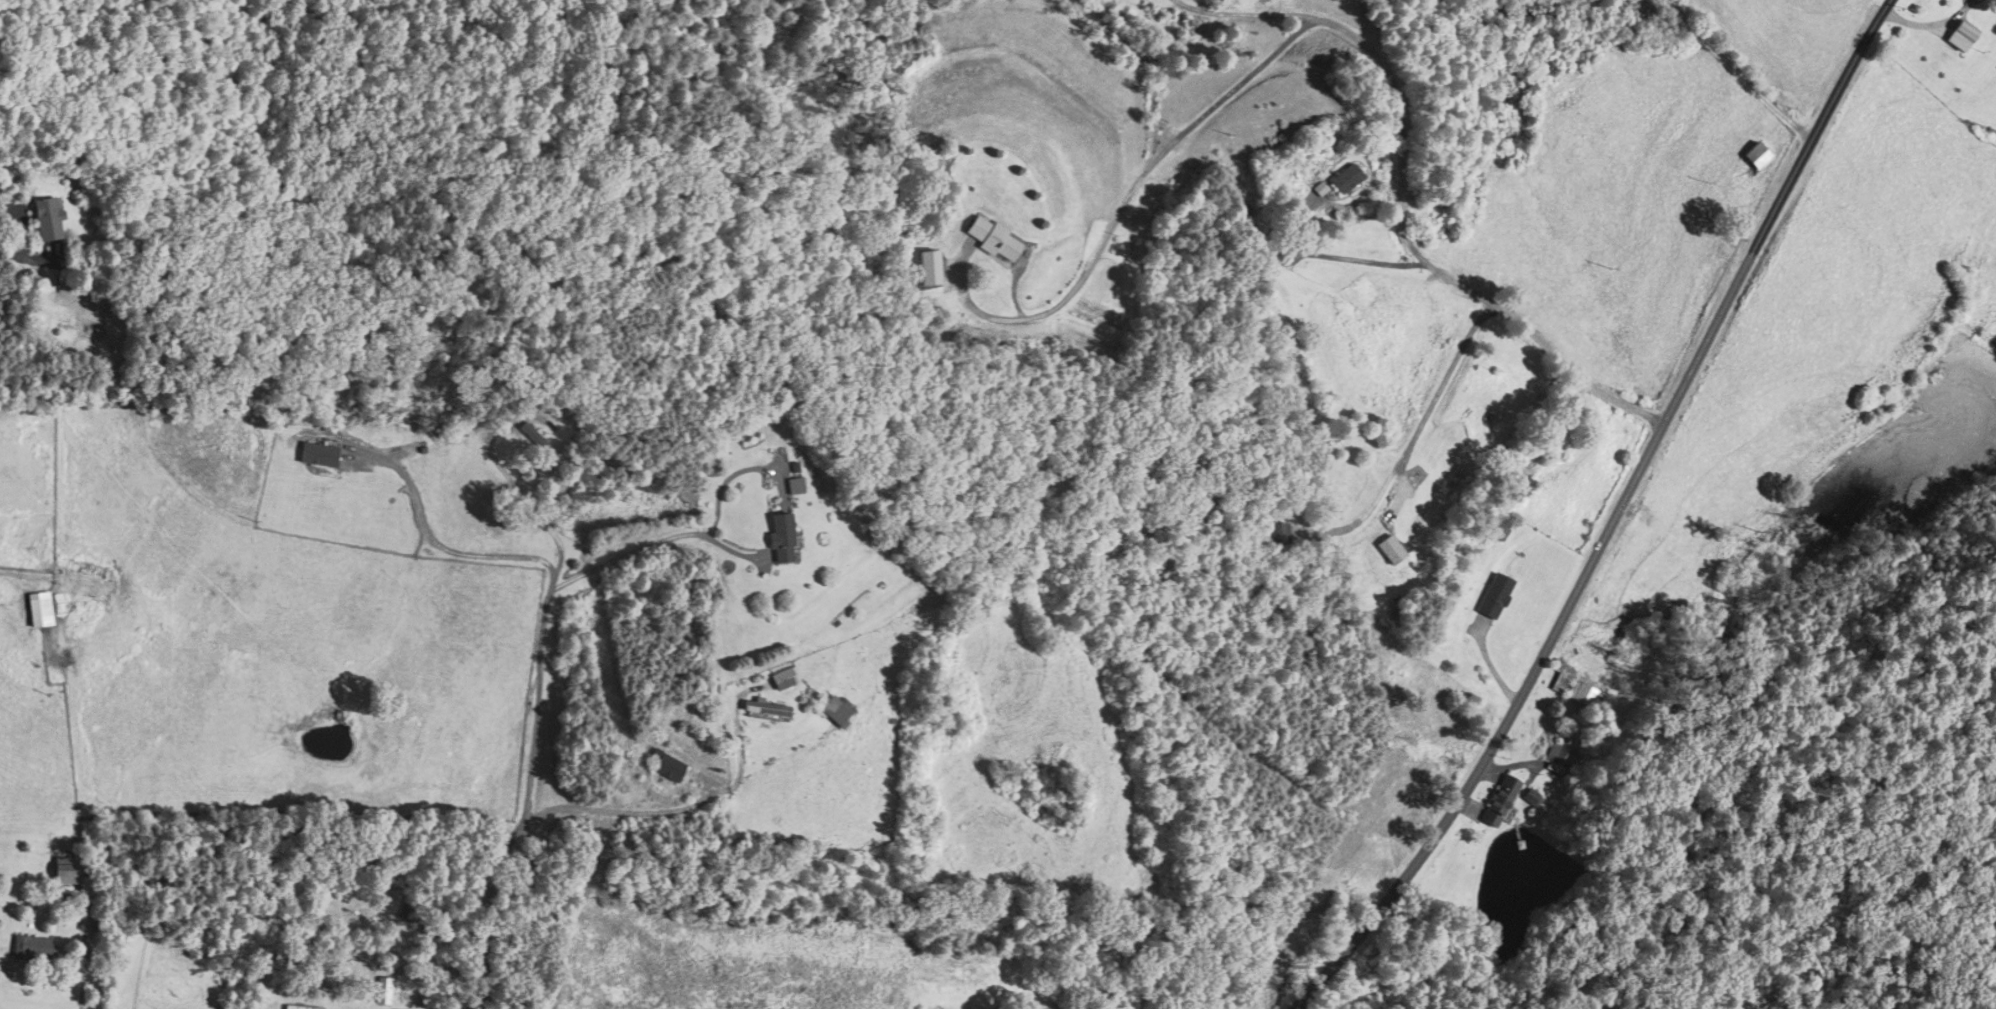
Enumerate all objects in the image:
road: (1682, 7)
building: (1189, 26)
building: (1965, 32)
road: (1761, 61)
building: (1754, 157)
building: (1347, 179)
road: (1787, 182)
road: (1122, 203)
road: (1400, 205)
road: (7, 206)
building: (46, 221)
building: (991, 241)
road: (1349, 258)
road: (9, 265)
building: (927, 270)
road: (1405, 434)
building: (535, 440)
building: (793, 487)
building: (1279, 534)
building: (1499, 535)
building: (778, 541)
road: (442, 546)
road: (646, 547)
building: (1391, 551)
building: (92, 571)
building: (1495, 598)
building: (47, 602)
road: (536, 630)
building: (783, 679)
building: (1576, 689)
road: (1516, 702)
building: (764, 712)
building: (834, 712)
building: (1560, 759)
building: (666, 768)
building: (1530, 798)
building: (1500, 803)
road: (562, 815)
building: (90, 922)
building: (33, 950)
building: (384, 992)
building: (299, 1008)

